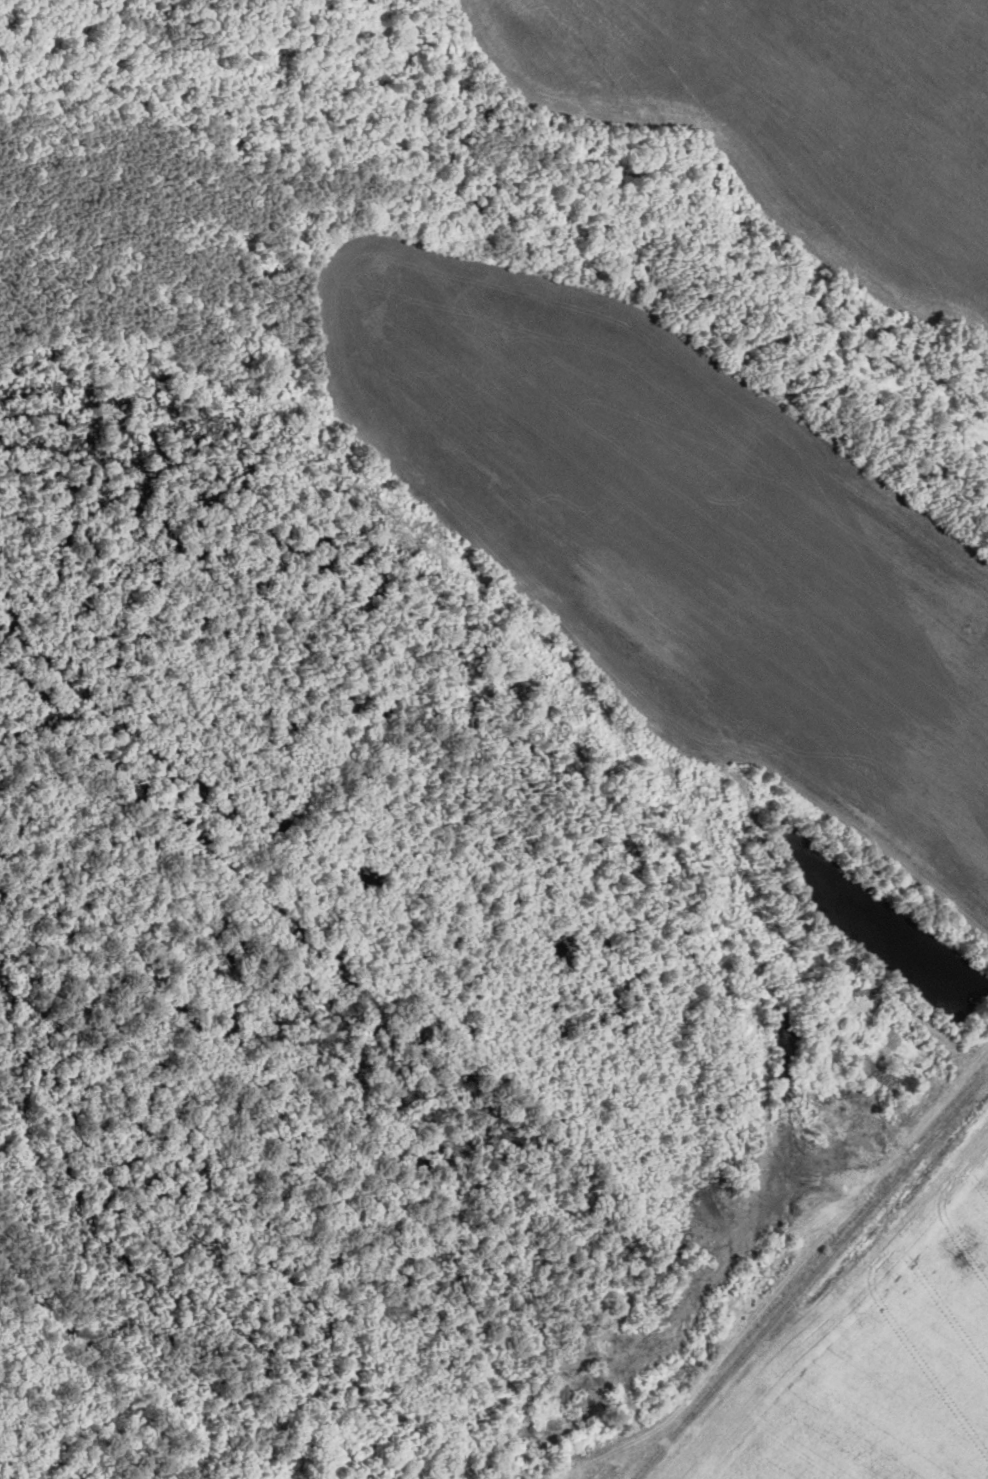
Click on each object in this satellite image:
railway: (813, 1277)

